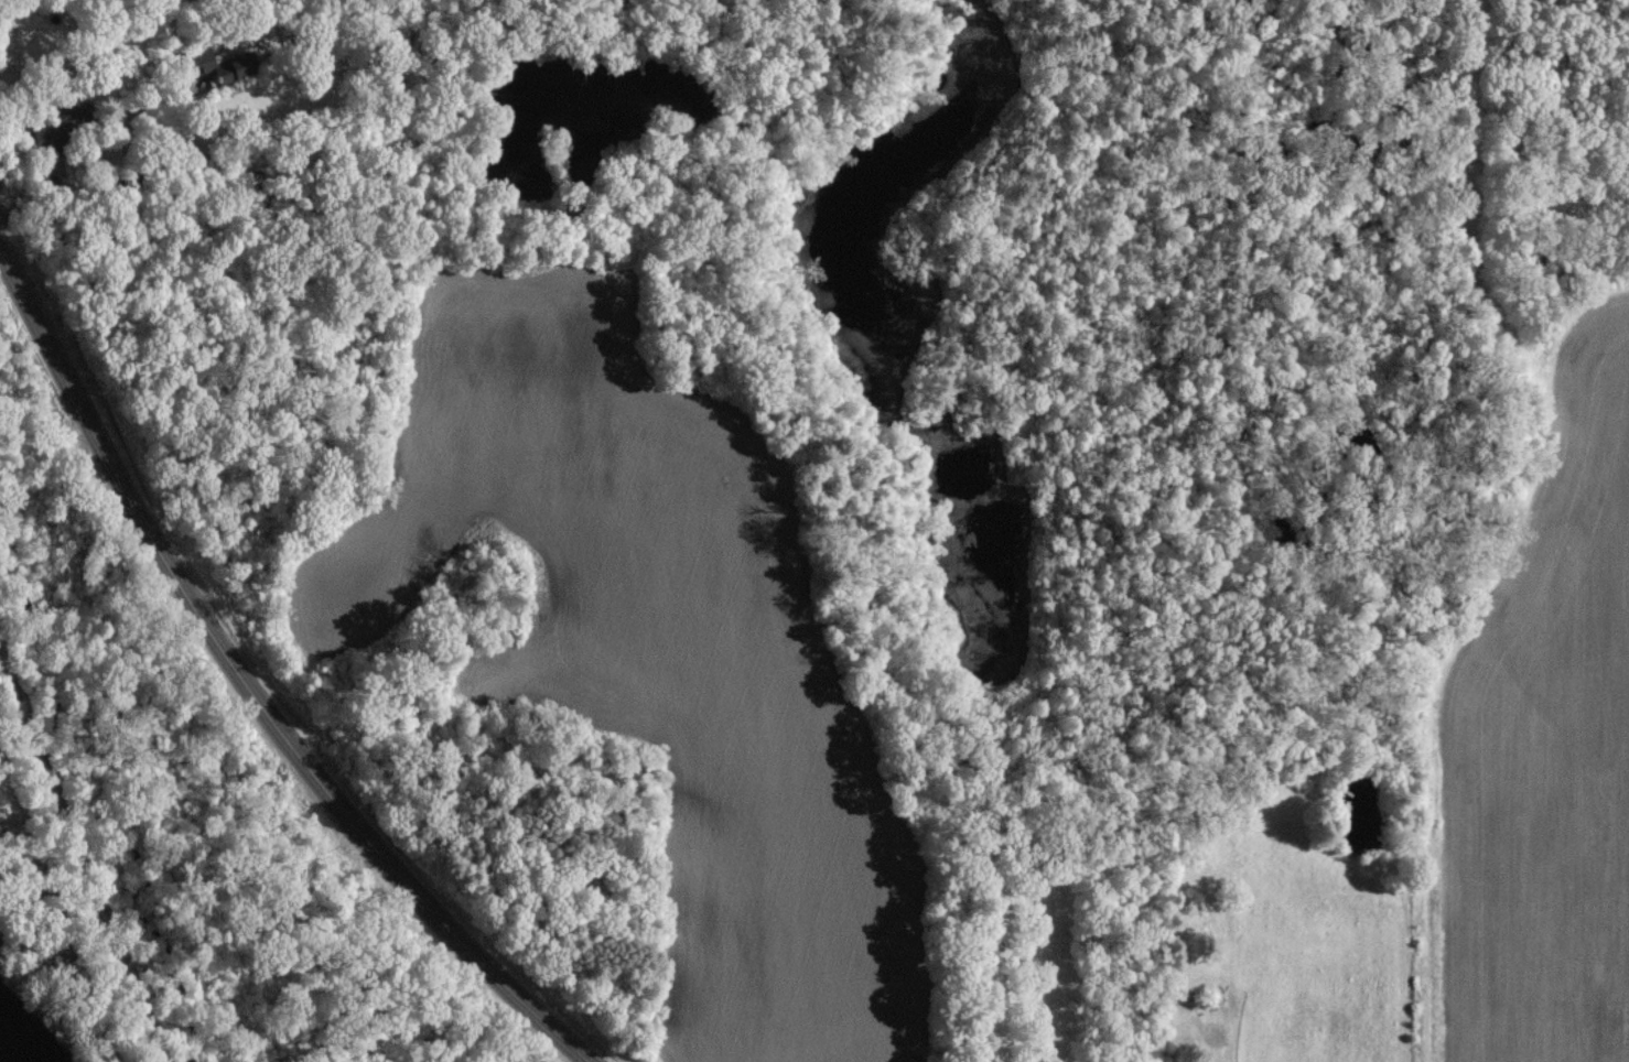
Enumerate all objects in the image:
building: (227, 63)
crop: (658, 650)
road: (247, 691)
railway: (83, 856)

